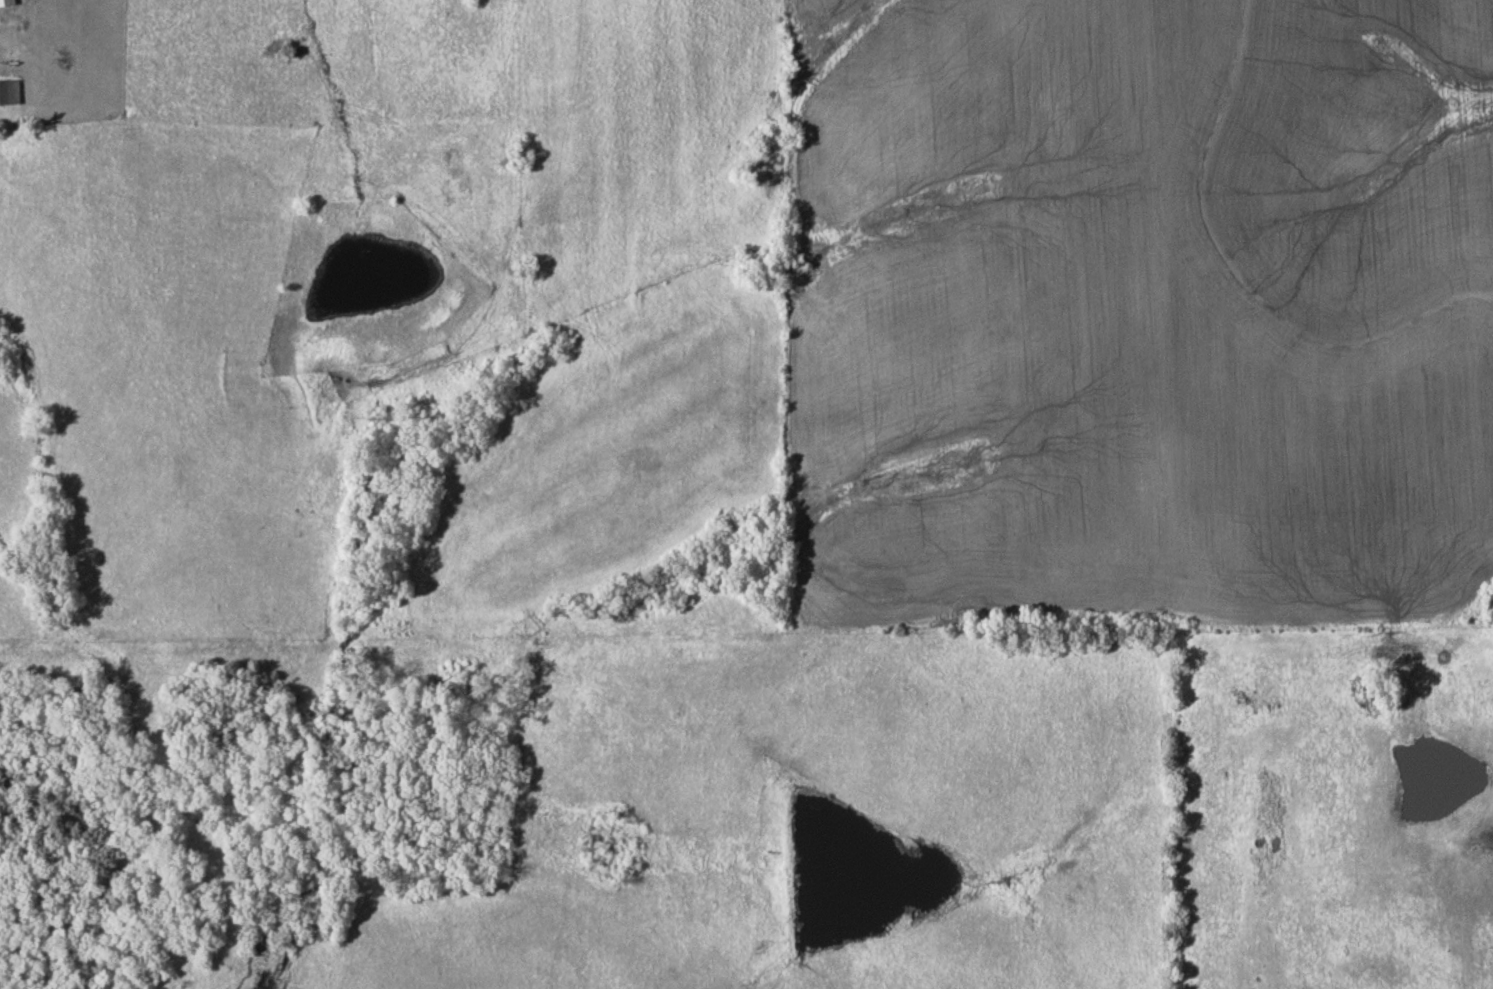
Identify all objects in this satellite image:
building: (10, 93)

